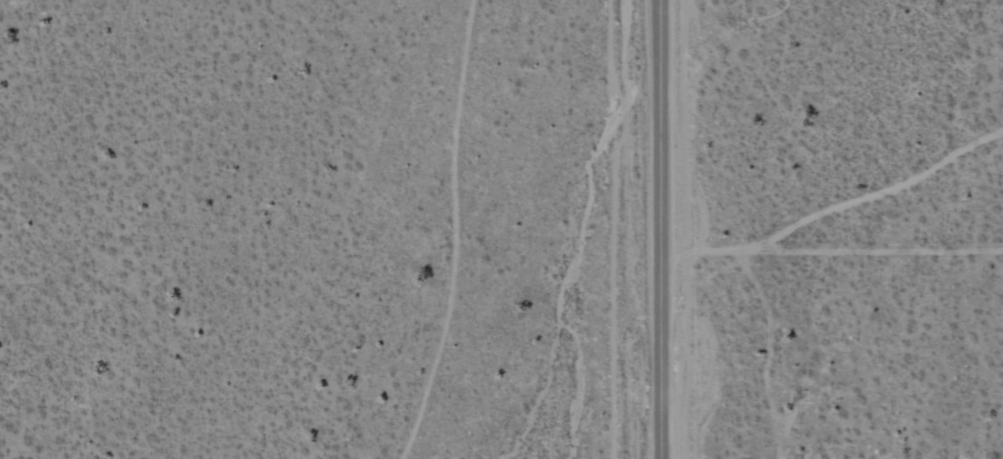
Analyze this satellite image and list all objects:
road: (656, 229)

